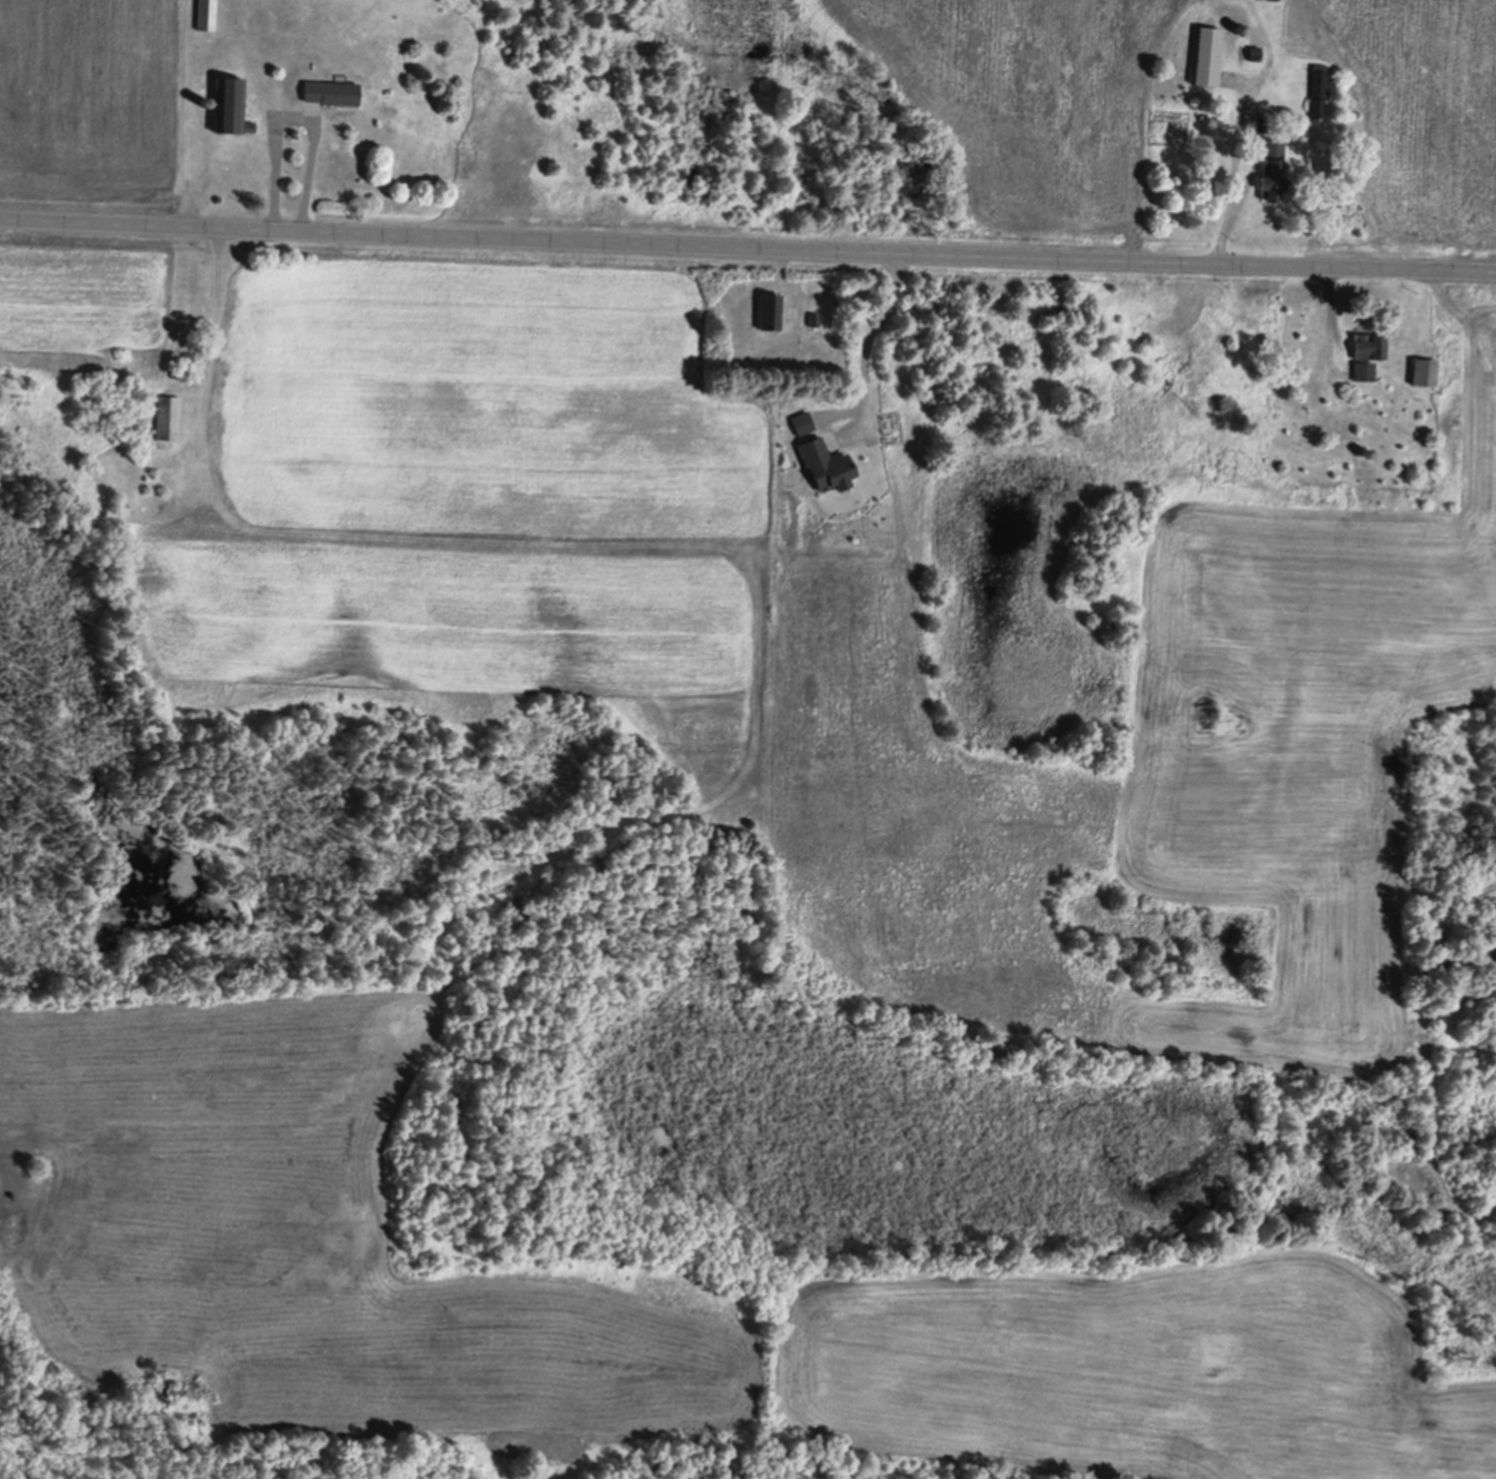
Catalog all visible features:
building: (206, 13)
building: (1241, 26)
building: (1256, 52)
building: (1209, 54)
building: (1320, 88)
building: (332, 91)
building: (231, 104)
building: (1261, 121)
building: (1274, 168)
road: (748, 238)
building: (770, 310)
building: (814, 317)
building: (1369, 353)
building: (1425, 369)
building: (168, 415)
building: (802, 423)
building: (1368, 451)
building: (825, 464)

